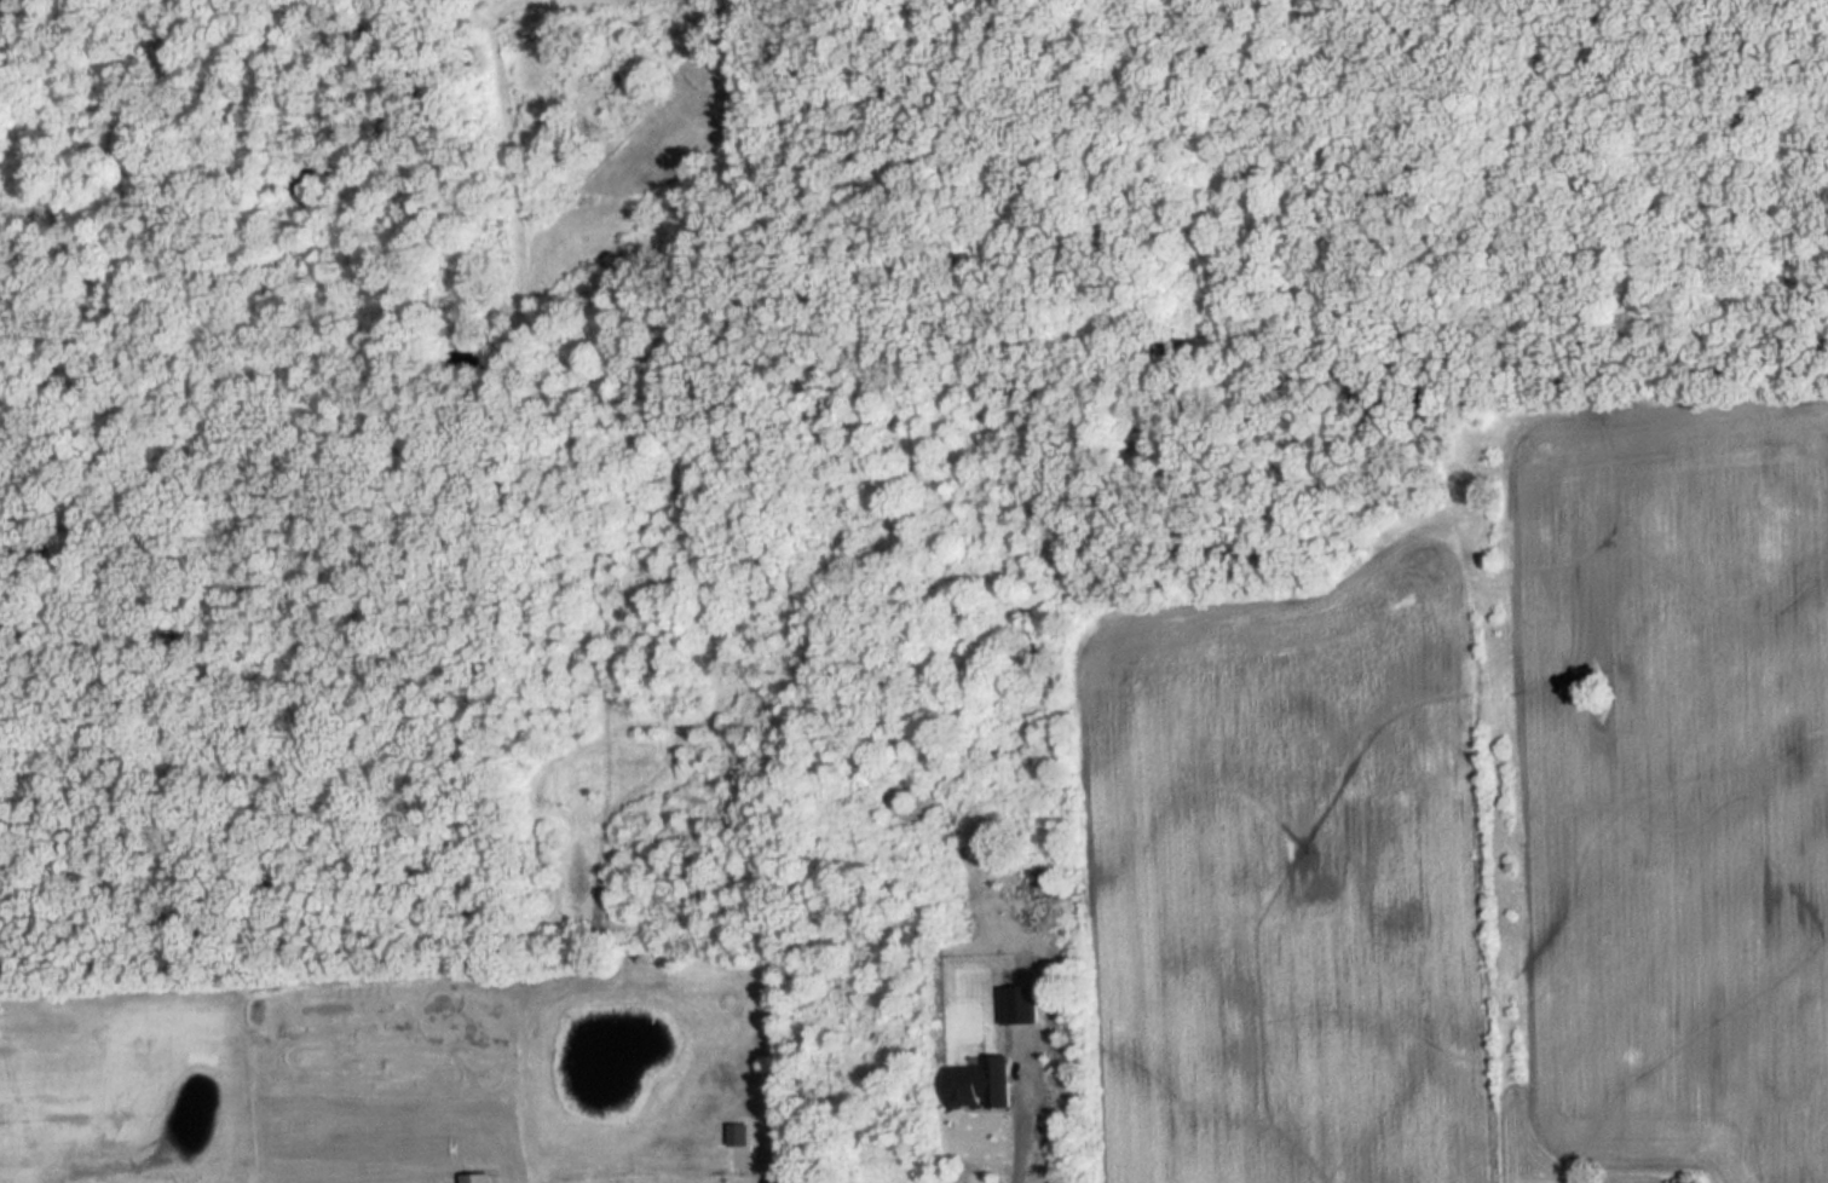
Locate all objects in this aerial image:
road: (1022, 1147)

